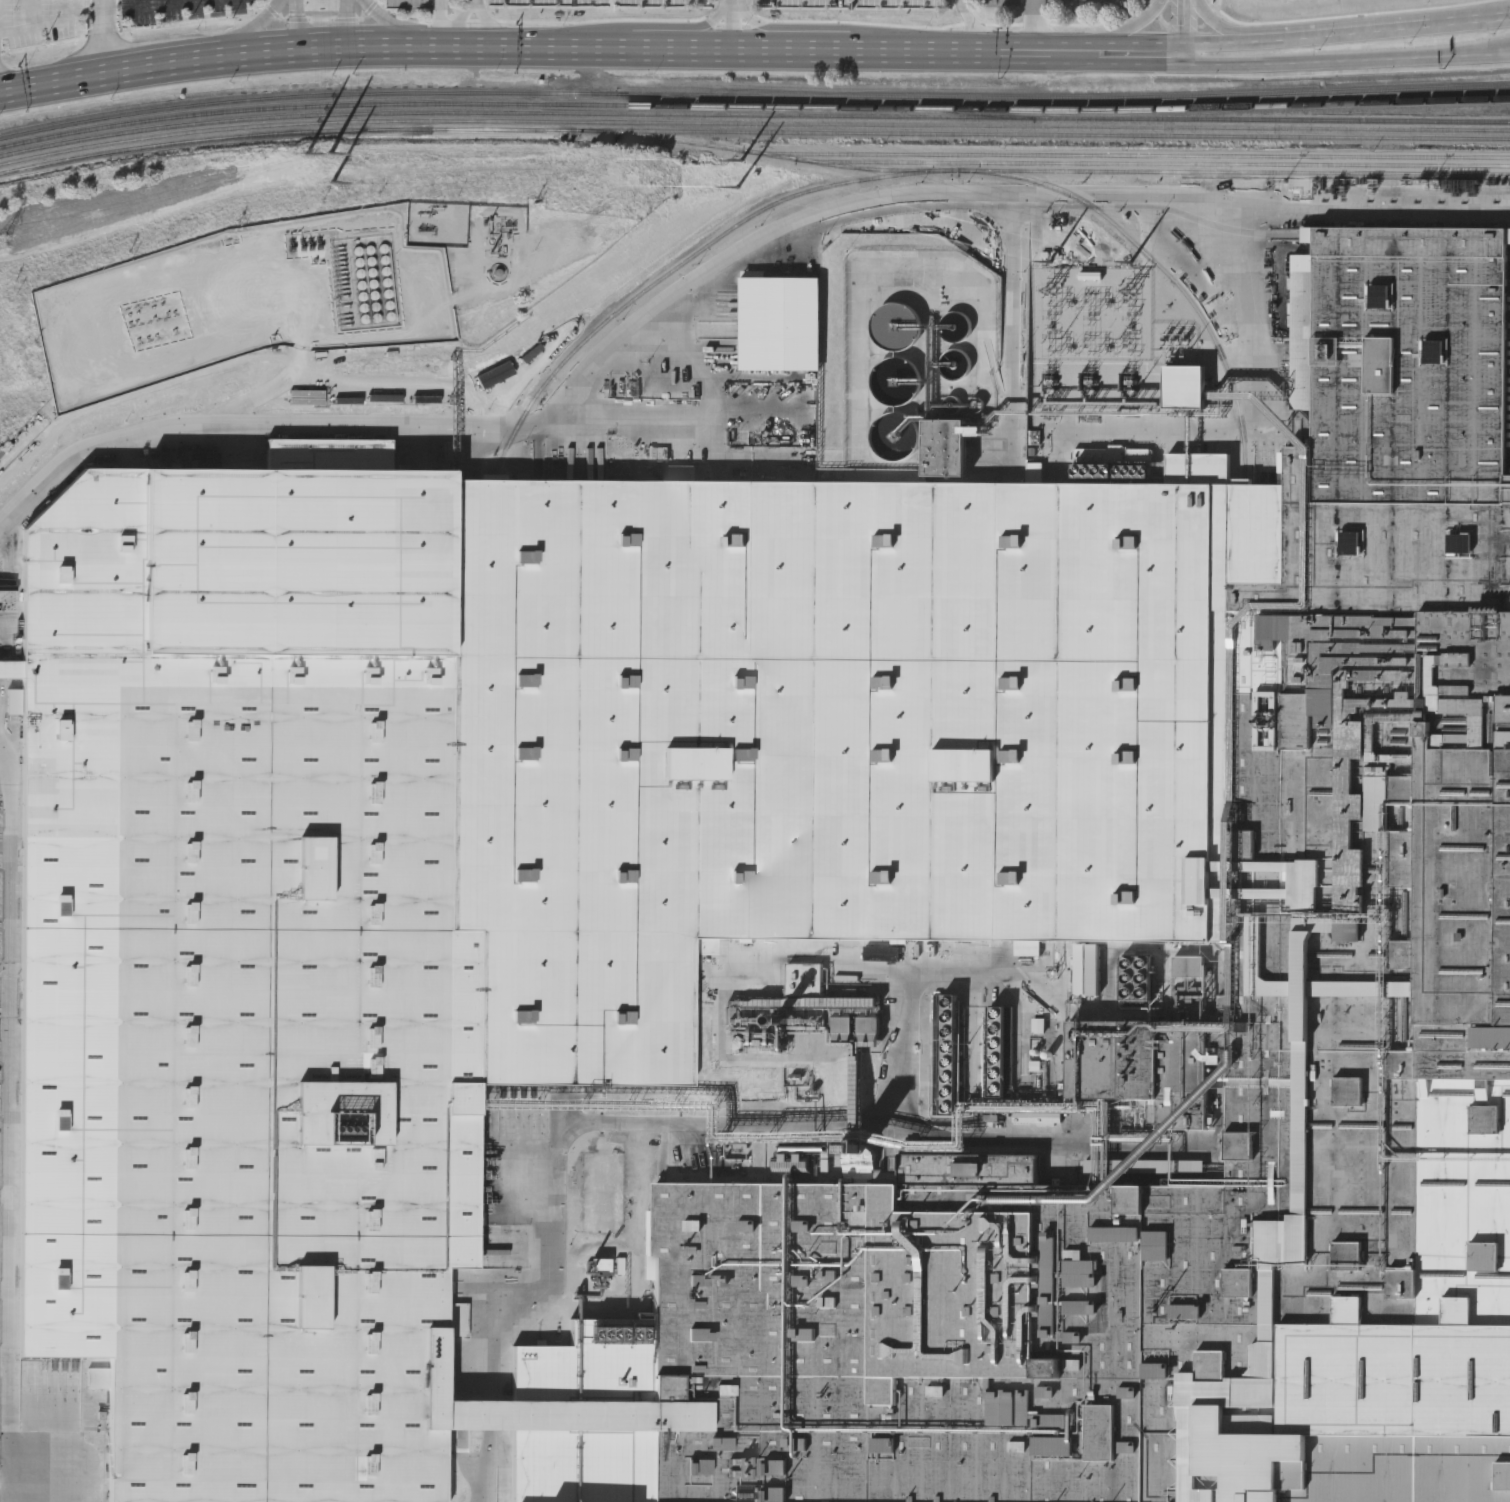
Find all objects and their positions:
road: (168, 3)
road: (1209, 22)
road: (347, 24)
road: (384, 24)
road: (471, 24)
road: (294, 25)
road: (730, 25)
road: (969, 27)
road: (1034, 28)
road: (1179, 28)
road: (1371, 29)
road: (260, 30)
road: (1132, 30)
road: (103, 38)
road: (1, 46)
road: (1206, 48)
road: (546, 49)
road: (1138, 57)
road: (1344, 61)
railway: (753, 94)
railway: (718, 100)
railway: (753, 106)
railway: (964, 112)
railway: (559, 113)
railway: (1316, 119)
railway: (721, 122)
railway: (1478, 129)
railway: (712, 131)
railway: (1469, 138)
railway: (773, 155)
railway: (1137, 155)
power tower: (305, 157)
power tower: (740, 160)
railway: (1161, 163)
railway: (1224, 173)
power tower: (737, 178)
power tower: (330, 184)
railway: (771, 203)
road: (1412, 210)
road: (841, 215)
power tower: (2, 247)
power tower: (1050, 258)
power tower: (1129, 261)
building: (934, 273)
railway: (1183, 295)
power substation: (1112, 330)
road: (1251, 343)
building: (956, 347)
railway: (546, 377)
building: (900, 380)
building: (72, 390)
road: (202, 420)
building: (947, 445)
railway: (468, 697)
building: (766, 826)
building: (863, 943)
building: (1190, 969)
road: (979, 973)
building: (1135, 976)
building: (802, 1015)
building: (947, 1055)
road: (916, 1123)
road: (10, 1129)
road: (562, 1153)
road: (446, 1429)

